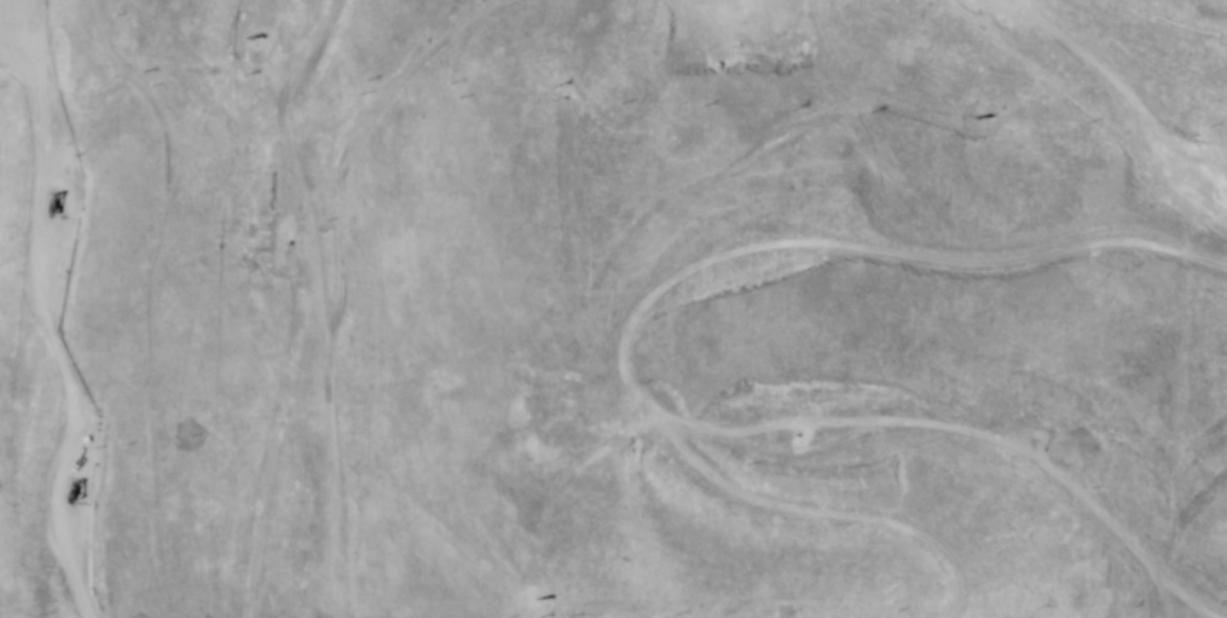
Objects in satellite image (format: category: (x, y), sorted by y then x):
road: (1140, 81)
road: (676, 278)
road: (264, 298)
road: (42, 310)
road: (939, 456)
road: (233, 551)
road: (1117, 585)

